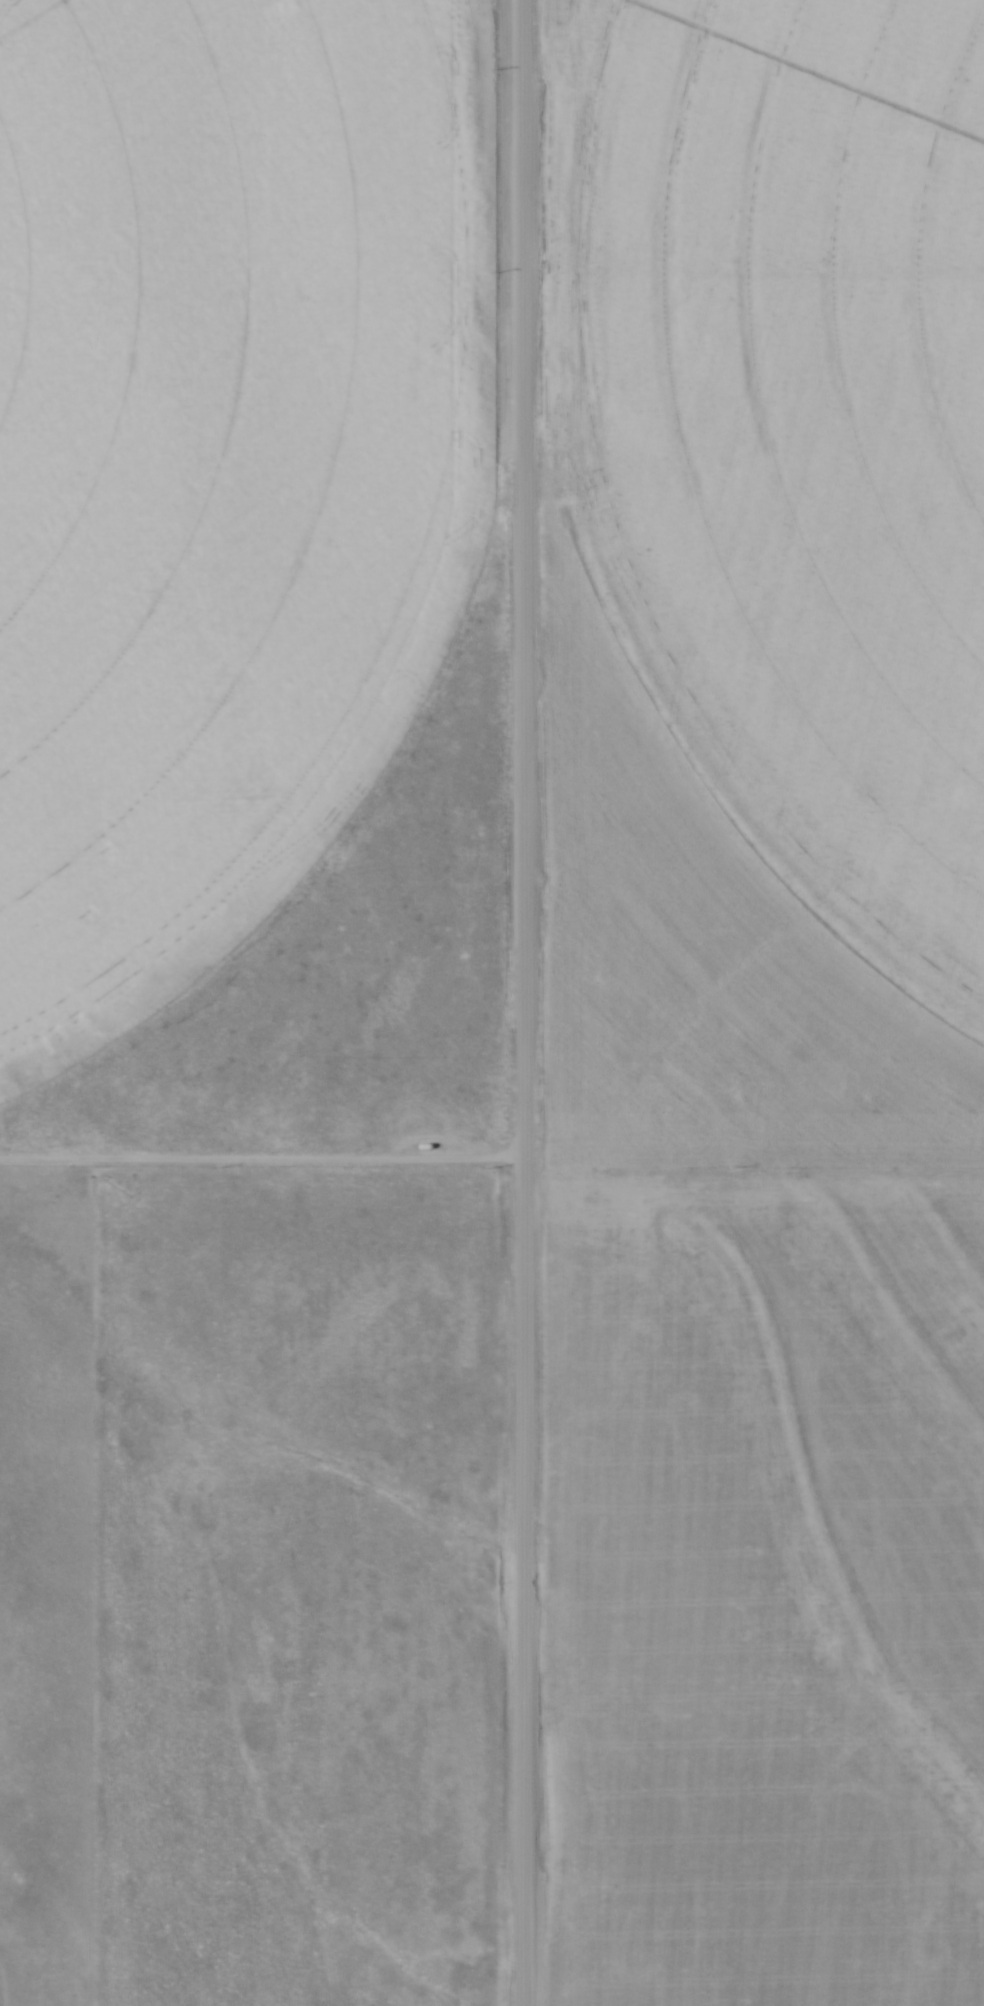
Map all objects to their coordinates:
road: (527, 1002)

